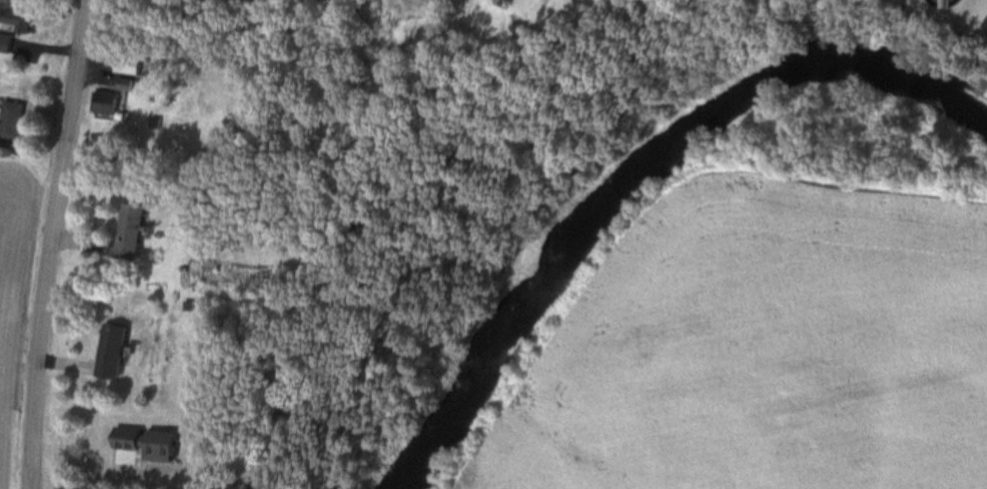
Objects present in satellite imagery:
building: (503, 0)
building: (947, 4)
wastewater plant: (950, 15)
building: (16, 20)
building: (6, 44)
road: (46, 48)
building: (126, 65)
building: (122, 83)
building: (105, 102)
building: (9, 123)
building: (153, 123)
river: (628, 164)
building: (196, 219)
building: (125, 233)
road: (54, 244)
building: (109, 353)

